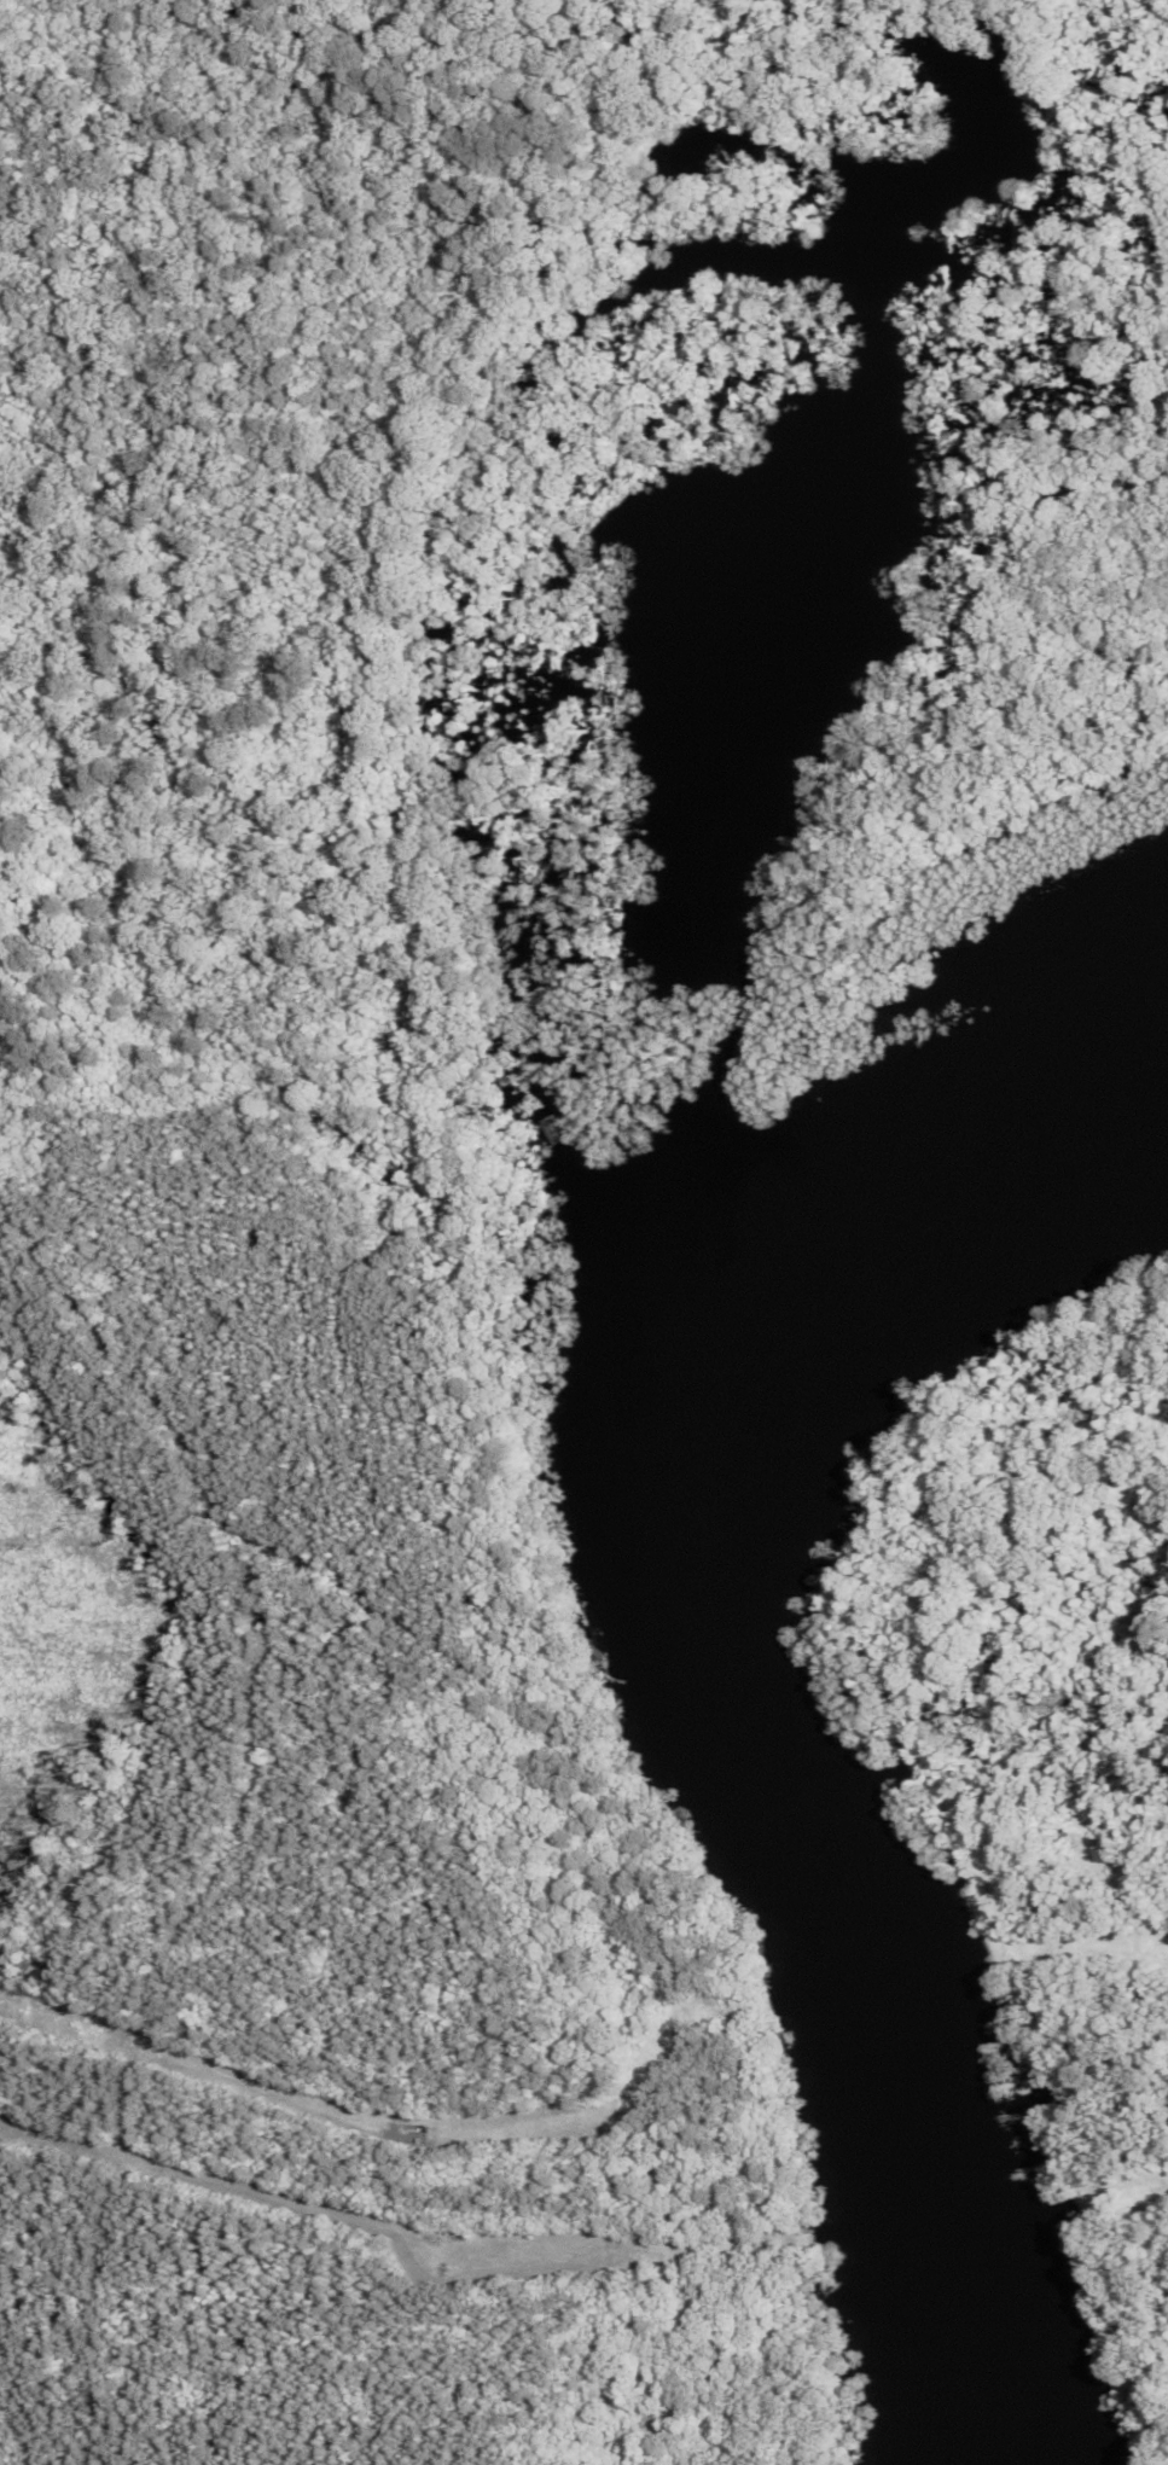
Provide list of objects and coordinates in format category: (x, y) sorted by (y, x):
river: (669, 1608)

